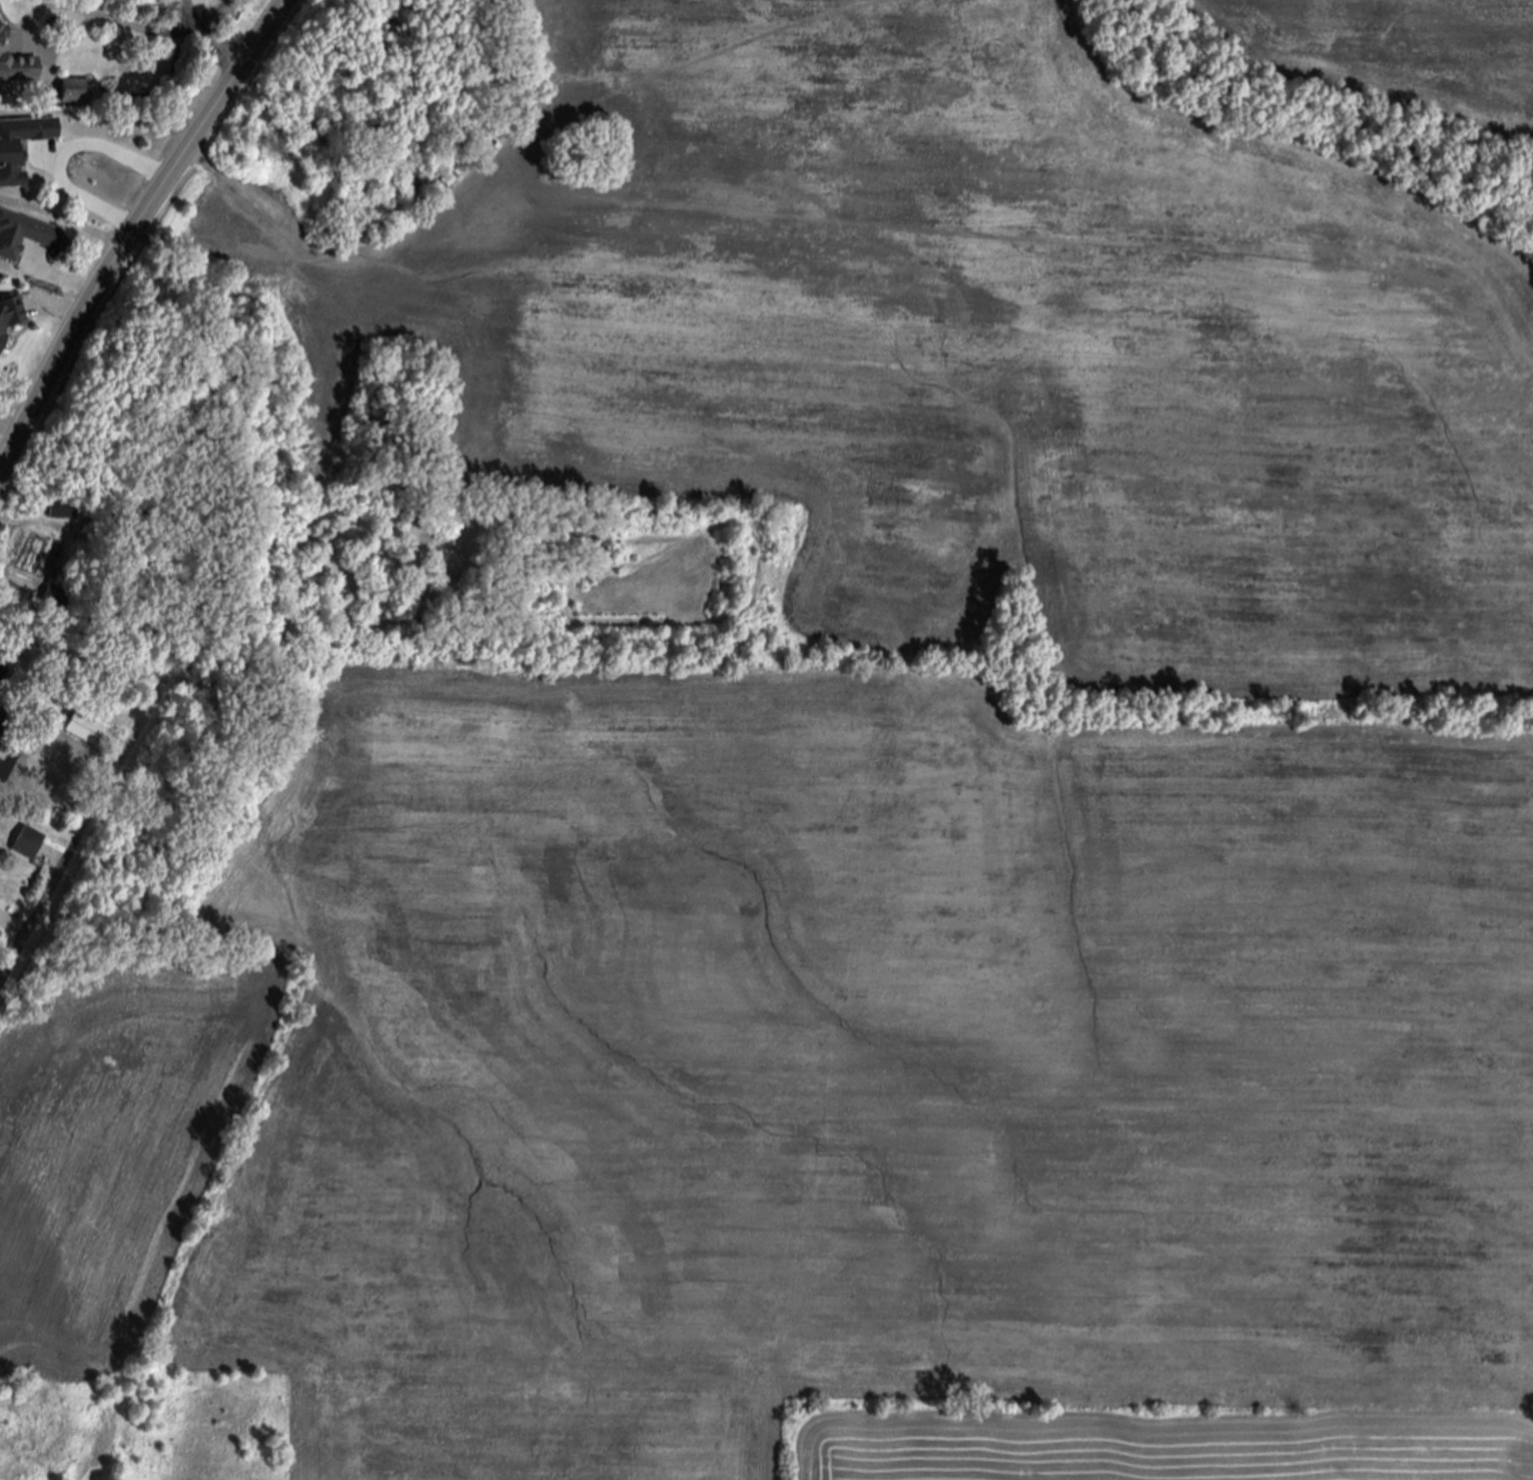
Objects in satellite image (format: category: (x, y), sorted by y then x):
road: (86, 13)
road: (214, 33)
crop: (1401, 46)
building: (17, 66)
building: (77, 91)
building: (10, 155)
road: (65, 156)
road: (133, 234)
building: (28, 236)
building: (10, 316)
building: (64, 511)
building: (56, 598)
building: (3, 674)
building: (85, 730)
building: (6, 735)
crop: (855, 824)
building: (29, 844)
road: (76, 848)

